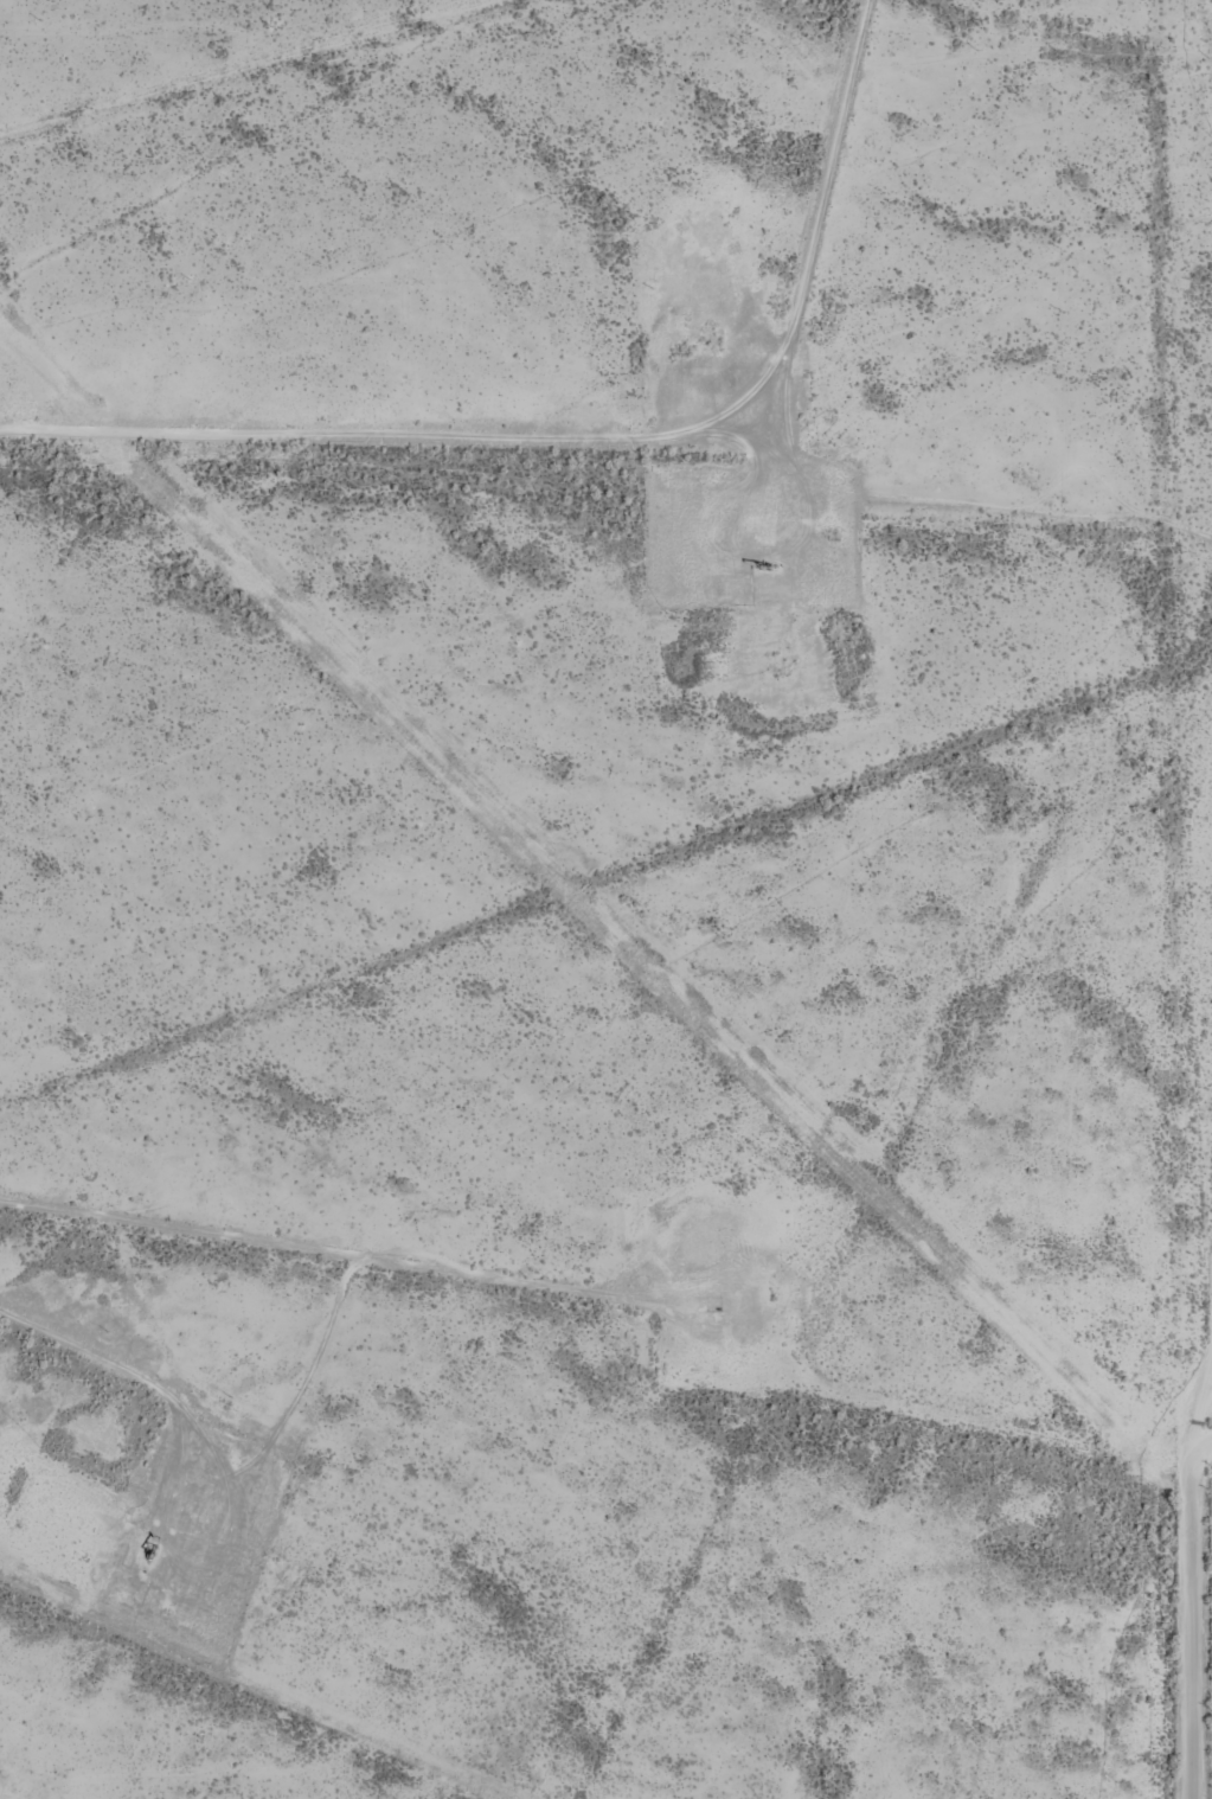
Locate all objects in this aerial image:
road: (1193, 77)
road: (1203, 1217)
road: (1204, 1326)
road: (1191, 1562)

